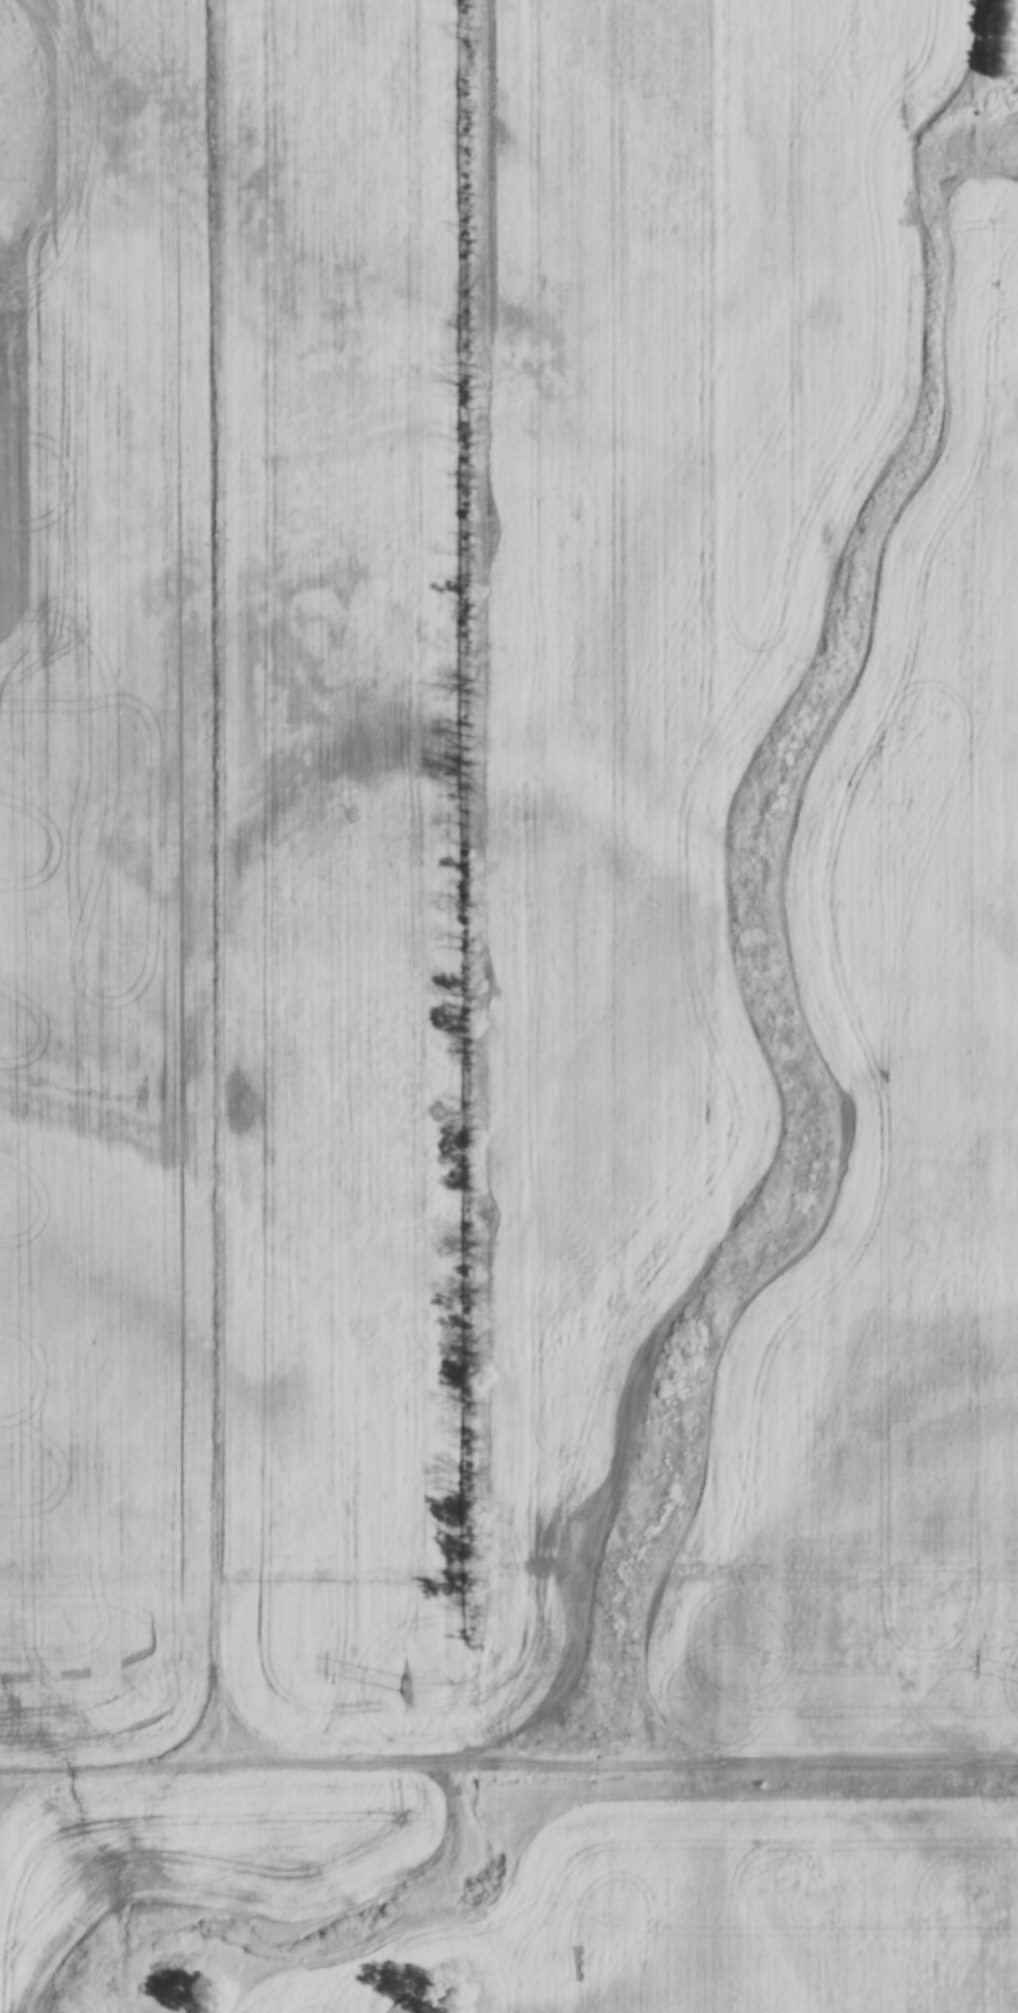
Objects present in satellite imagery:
power tower: (395, 1676)
road: (508, 1762)

